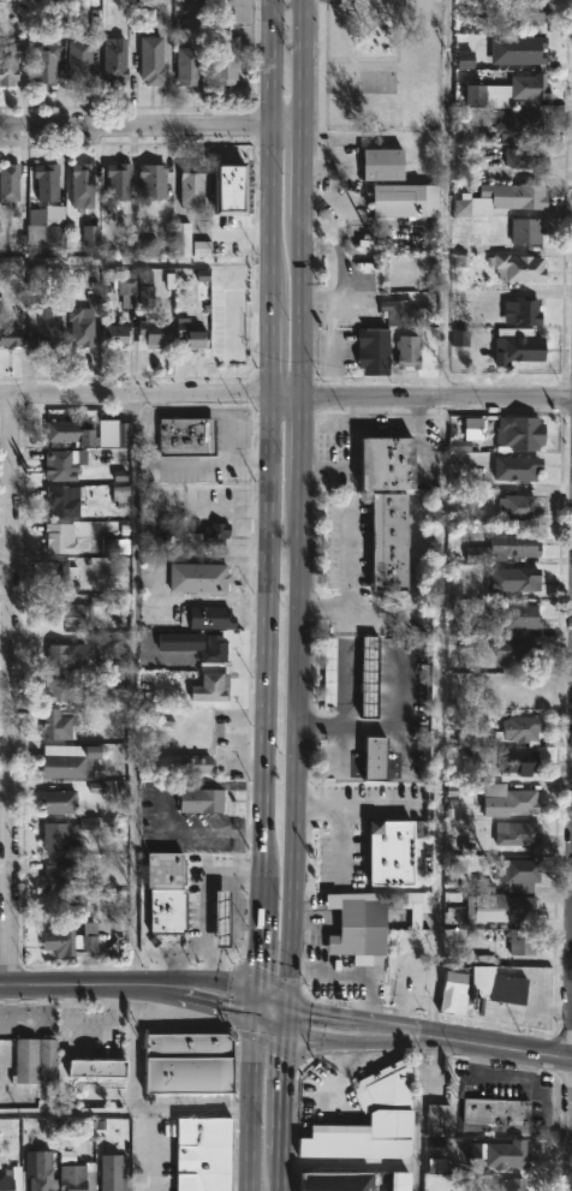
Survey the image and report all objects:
building: (534, 11)
building: (534, 52)
building: (83, 58)
building: (151, 59)
building: (117, 60)
building: (227, 60)
building: (46, 62)
road: (273, 62)
road: (310, 62)
building: (10, 65)
building: (189, 65)
building: (510, 90)
building: (523, 124)
road: (136, 125)
road: (291, 126)
building: (526, 156)
building: (382, 163)
building: (119, 180)
building: (153, 180)
building: (10, 183)
building: (193, 184)
building: (83, 185)
building: (232, 187)
building: (528, 196)
building: (409, 200)
building: (48, 202)
building: (528, 230)
building: (184, 239)
road: (137, 264)
building: (520, 267)
building: (126, 288)
building: (411, 309)
building: (528, 311)
building: (230, 322)
building: (46, 326)
building: (82, 326)
building: (153, 333)
building: (192, 334)
building: (115, 335)
building: (10, 337)
building: (518, 346)
building: (375, 349)
building: (410, 351)
road: (136, 392)
road: (288, 395)
road: (437, 399)
road: (159, 401)
road: (143, 410)
road: (256, 424)
road: (149, 425)
building: (90, 430)
building: (523, 433)
building: (191, 437)
building: (392, 463)
building: (61, 466)
building: (518, 468)
building: (65, 499)
building: (520, 507)
road: (441, 522)
building: (207, 537)
building: (61, 538)
building: (393, 542)
building: (516, 546)
road: (346, 560)
building: (62, 574)
building: (199, 577)
building: (525, 579)
road: (234, 601)
building: (66, 611)
road: (410, 612)
building: (523, 615)
building: (213, 618)
building: (196, 645)
building: (62, 654)
building: (518, 654)
road: (270, 659)
road: (302, 659)
building: (373, 677)
road: (10, 686)
road: (136, 687)
building: (213, 687)
building: (59, 689)
building: (58, 725)
building: (522, 727)
building: (68, 760)
building: (379, 760)
building: (523, 760)
building: (196, 763)
building: (510, 799)
building: (203, 800)
building: (61, 802)
building: (516, 833)
building: (60, 838)
building: (392, 851)
building: (522, 871)
building: (58, 873)
building: (169, 893)
building: (514, 904)
road: (205, 905)
building: (220, 925)
building: (362, 925)
building: (72, 939)
building: (525, 941)
road: (173, 952)
road: (83, 982)
building: (482, 989)
traffic signals: (262, 995)
road: (272, 999)
traffic signals: (294, 1008)
traffic signals: (261, 1018)
road: (268, 1020)
traffic signals: (293, 1029)
road: (472, 1048)
building: (35, 1061)
building: (192, 1061)
building: (94, 1066)
building: (497, 1110)
road: (127, 1112)
building: (441, 1114)
road: (418, 1116)
building: (374, 1119)
road: (153, 1151)
building: (208, 1153)
building: (502, 1153)
building: (44, 1172)
building: (115, 1175)
building: (78, 1178)
building: (340, 1180)
building: (404, 1180)
building: (7, 1183)
building: (510, 1184)

